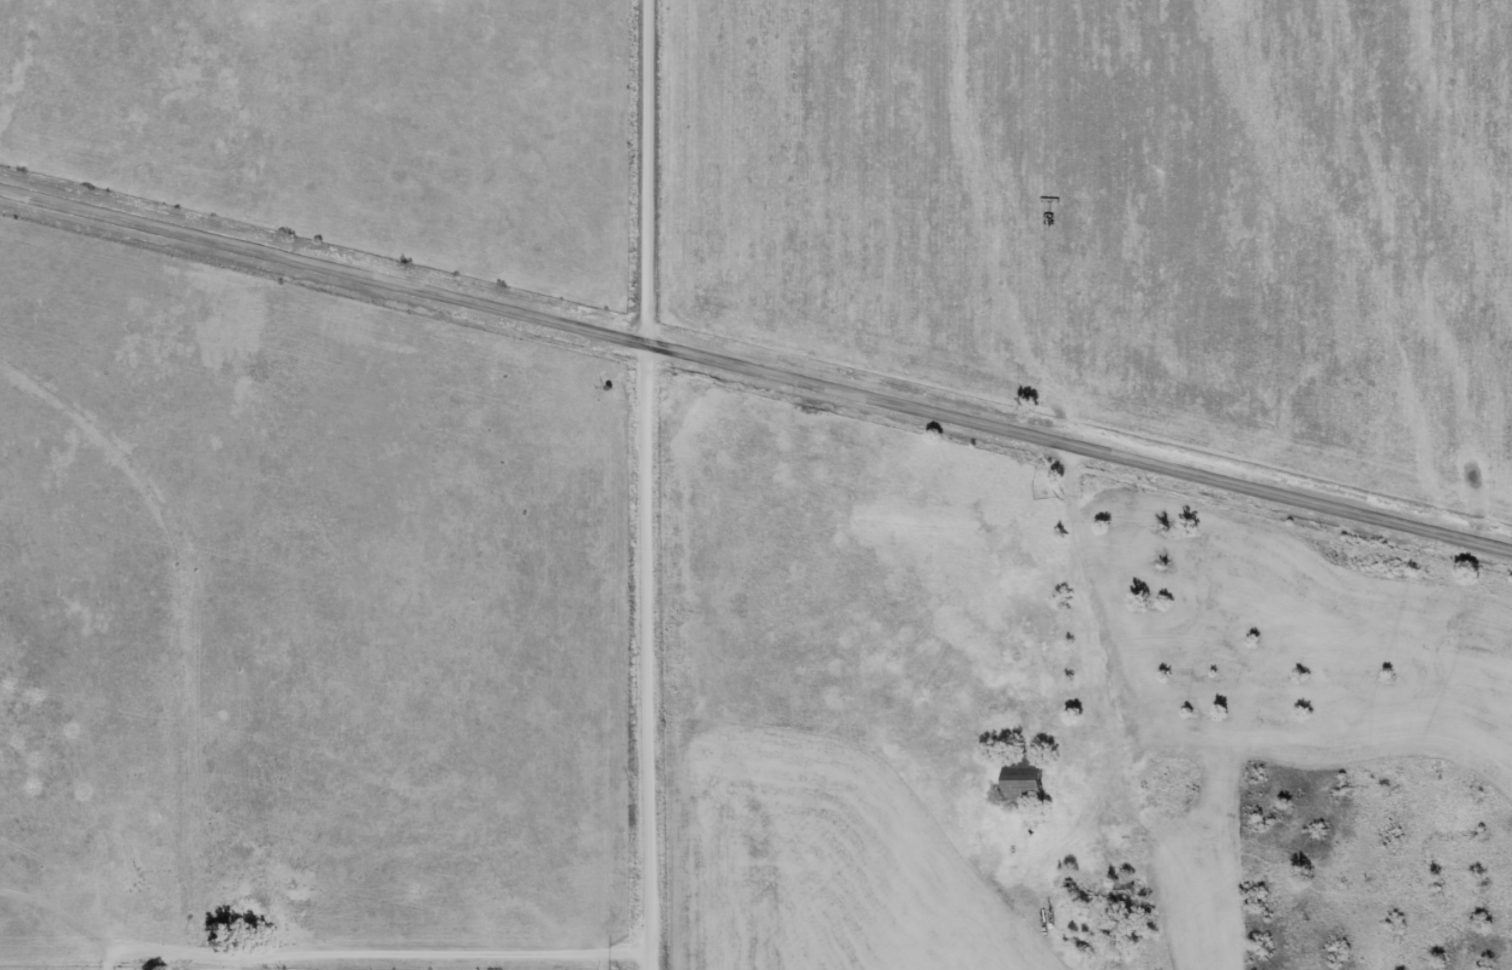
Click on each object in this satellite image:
road: (325, 265)
road: (1081, 446)
road: (649, 485)
building: (1030, 773)
road: (385, 953)

